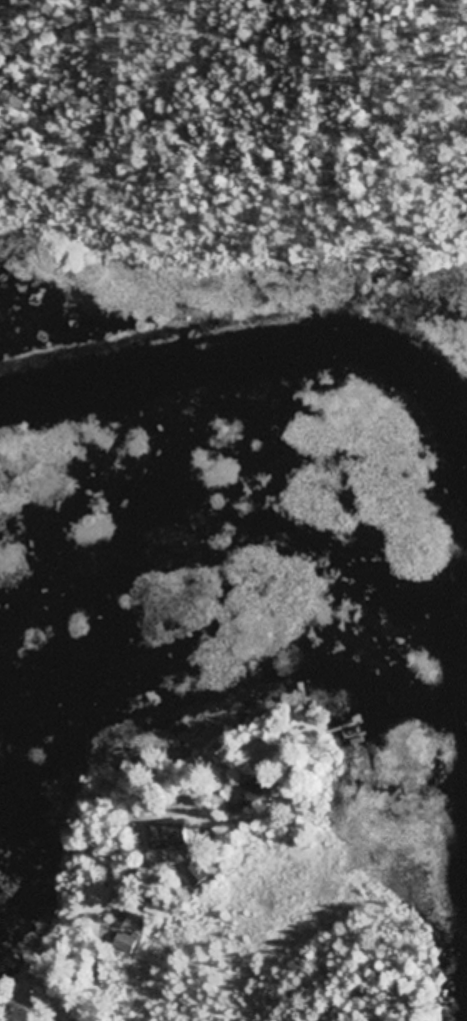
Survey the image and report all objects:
river: (241, 495)
building: (251, 795)
building: (173, 834)
building: (197, 875)
building: (126, 920)
building: (126, 944)

